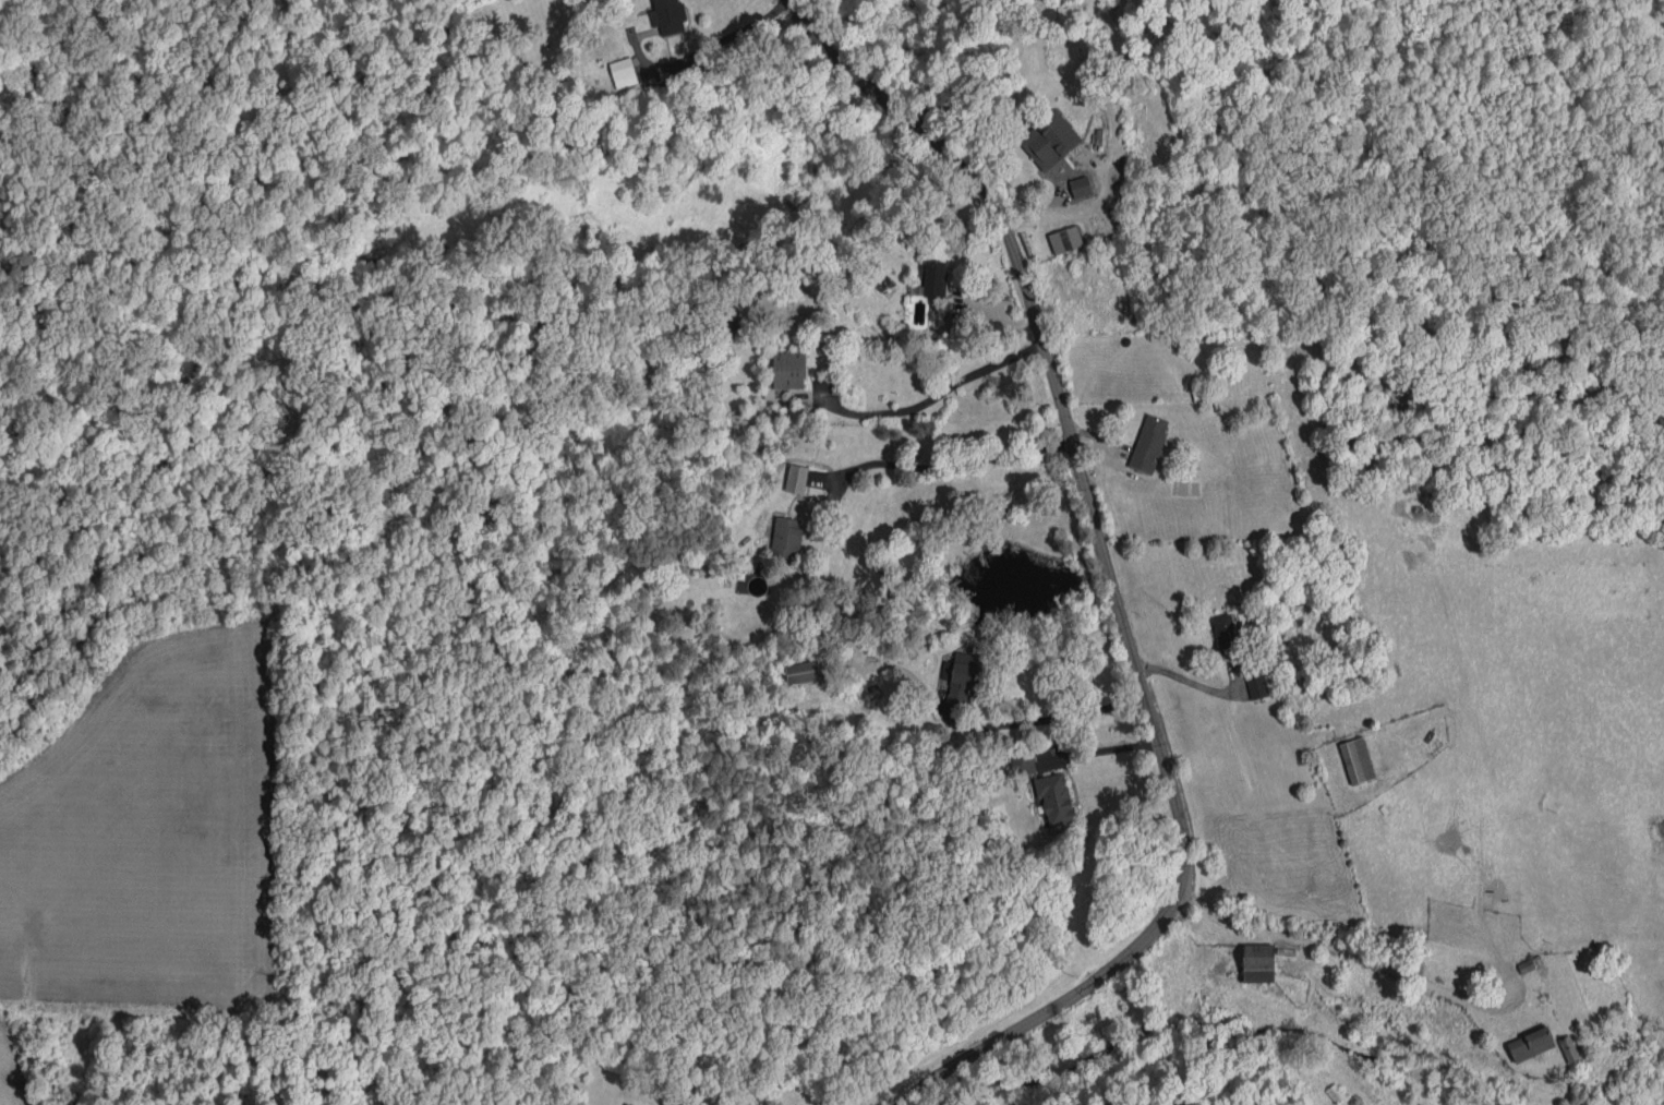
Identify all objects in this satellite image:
building: (668, 15)
road: (715, 46)
building: (623, 72)
building: (1049, 140)
building: (1080, 187)
building: (1065, 239)
building: (930, 279)
building: (788, 369)
road: (937, 393)
building: (1148, 443)
road: (961, 460)
building: (796, 478)
building: (786, 536)
road: (1109, 580)
building: (1225, 629)
building: (804, 671)
building: (963, 675)
road: (1187, 680)
building: (1256, 685)
road: (1040, 718)
road: (1099, 749)
building: (1356, 759)
building: (1053, 797)
road: (1342, 952)
building: (1257, 962)
building: (1529, 963)
building: (1530, 1043)
building: (1568, 1047)
building: (631, 1104)

